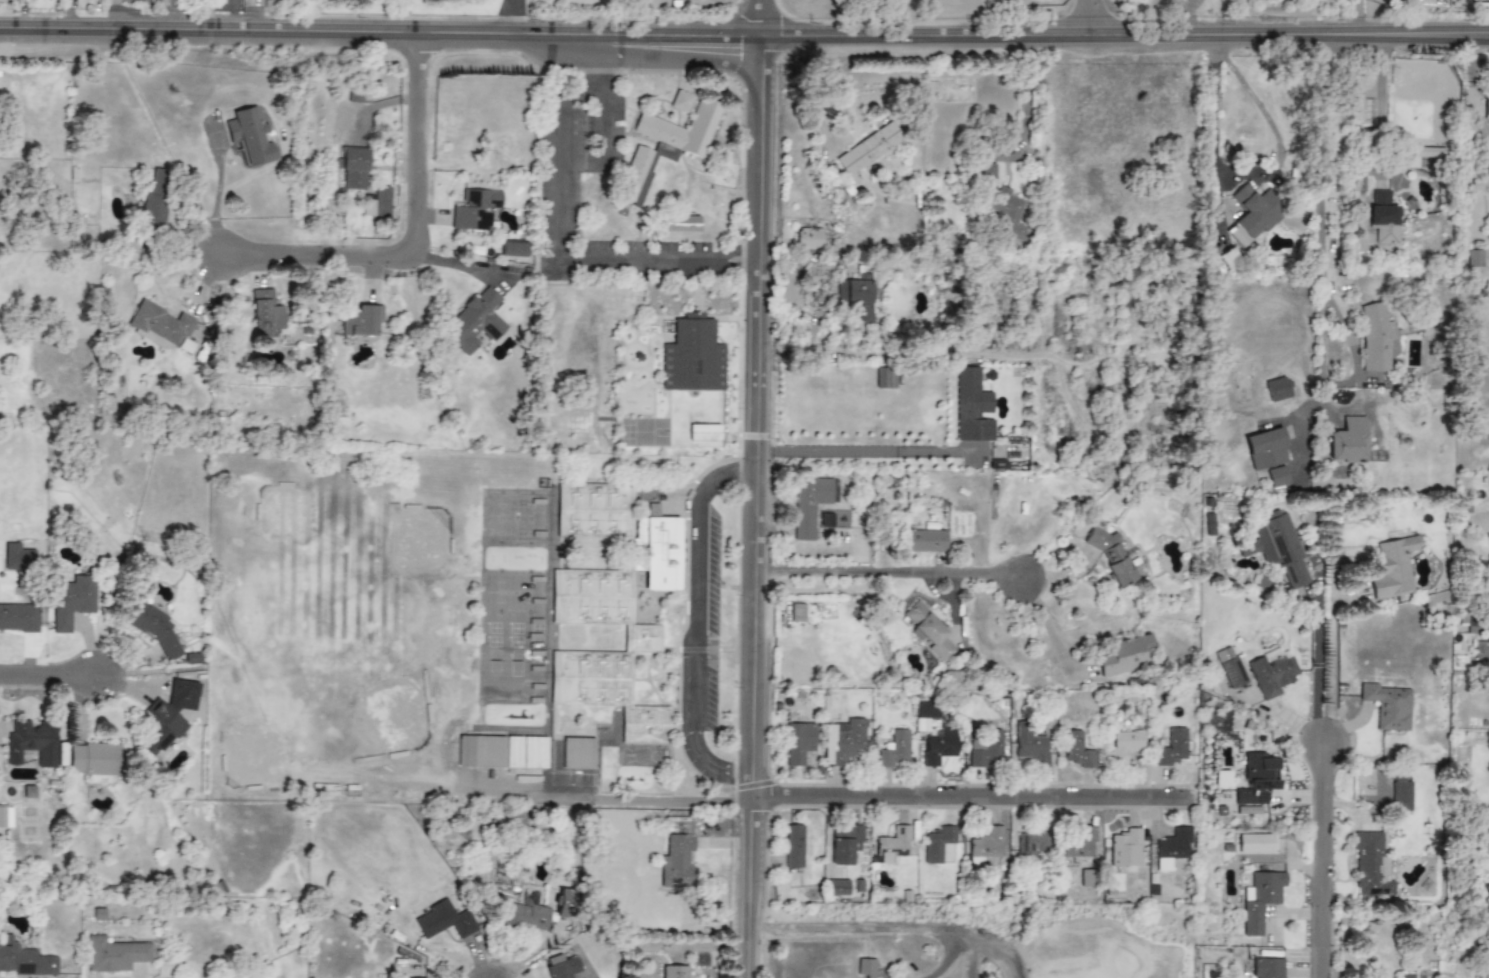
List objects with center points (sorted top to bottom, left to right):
building: (221, 7)
road: (512, 17)
road: (764, 19)
road: (872, 19)
road: (1084, 19)
road: (1359, 19)
road: (1371, 19)
road: (383, 31)
road: (1047, 39)
road: (1351, 39)
road: (1378, 39)
road: (1436, 39)
building: (356, 94)
road: (600, 98)
building: (681, 101)
road: (1025, 101)
building: (1486, 105)
road: (1382, 110)
building: (285, 127)
road: (1214, 132)
building: (248, 137)
building: (664, 147)
building: (868, 149)
building: (356, 167)
building: (79, 179)
building: (159, 182)
building: (115, 193)
road: (217, 197)
building: (1000, 201)
building: (154, 207)
building: (477, 210)
building: (1253, 213)
building: (1383, 217)
building: (678, 224)
road: (556, 234)
road: (415, 237)
building: (808, 239)
building: (513, 248)
road: (731, 253)
building: (1474, 259)
road: (457, 264)
road: (731, 267)
road: (1320, 284)
building: (854, 298)
building: (265, 314)
building: (167, 319)
building: (485, 325)
building: (363, 327)
building: (1375, 339)
building: (692, 357)
building: (885, 379)
building: (1277, 389)
building: (333, 390)
building: (971, 407)
building: (703, 433)
building: (1347, 440)
building: (1265, 449)
road: (868, 451)
building: (1276, 477)
building: (811, 503)
road: (760, 508)
building: (600, 510)
building: (1210, 525)
building: (924, 541)
building: (1281, 548)
building: (1110, 552)
building: (663, 553)
building: (17, 558)
road: (892, 574)
building: (1394, 575)
building: (1268, 586)
building: (74, 599)
building: (592, 600)
building: (19, 617)
road: (694, 624)
road: (1048, 625)
building: (157, 630)
building: (928, 632)
building: (649, 640)
building: (1480, 652)
road: (1329, 657)
building: (1127, 658)
road: (1316, 668)
road: (51, 669)
building: (1234, 673)
building: (1272, 673)
building: (596, 680)
building: (1390, 707)
building: (171, 715)
building: (928, 716)
building: (647, 726)
building: (843, 742)
building: (798, 743)
building: (1122, 744)
building: (1032, 746)
building: (940, 747)
building: (35, 748)
building: (1171, 748)
building: (895, 749)
building: (986, 750)
building: (579, 751)
building: (1076, 751)
building: (507, 753)
building: (98, 759)
building: (1222, 779)
building: (101, 780)
building: (1257, 783)
building: (1400, 793)
road: (979, 796)
building: (6, 817)
building: (1076, 841)
building: (1034, 842)
building: (1257, 843)
building: (844, 845)
building: (893, 845)
building: (793, 846)
building: (939, 846)
building: (985, 846)
building: (1178, 848)
building: (1125, 849)
road: (1319, 859)
building: (676, 861)
building: (1369, 865)
building: (1089, 879)
building: (1153, 885)
building: (838, 888)
building: (1260, 901)
building: (565, 904)
building: (436, 918)
road: (891, 925)
building: (120, 952)
building: (23, 960)
building: (568, 968)
building: (865, 968)
building: (1267, 968)
building: (678, 972)
building: (422, 975)
building: (1405, 975)

